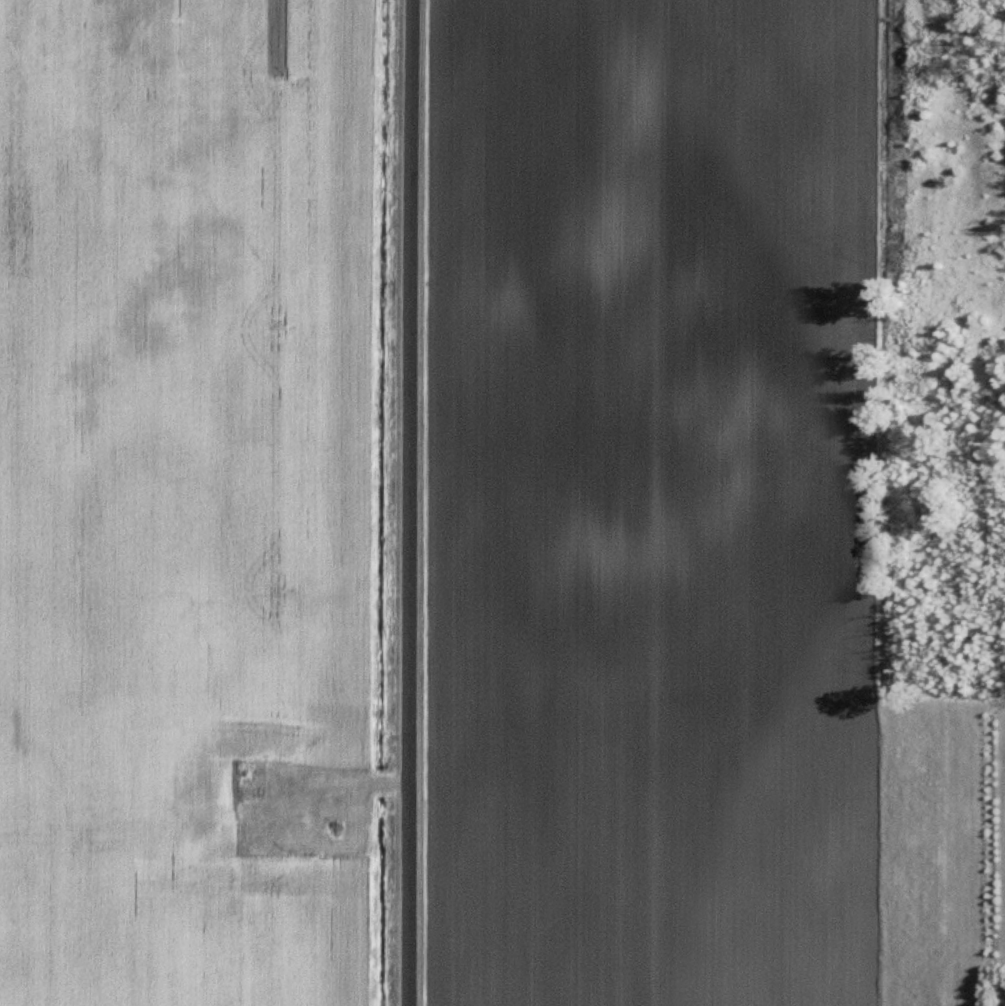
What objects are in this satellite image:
road: (415, 503)

